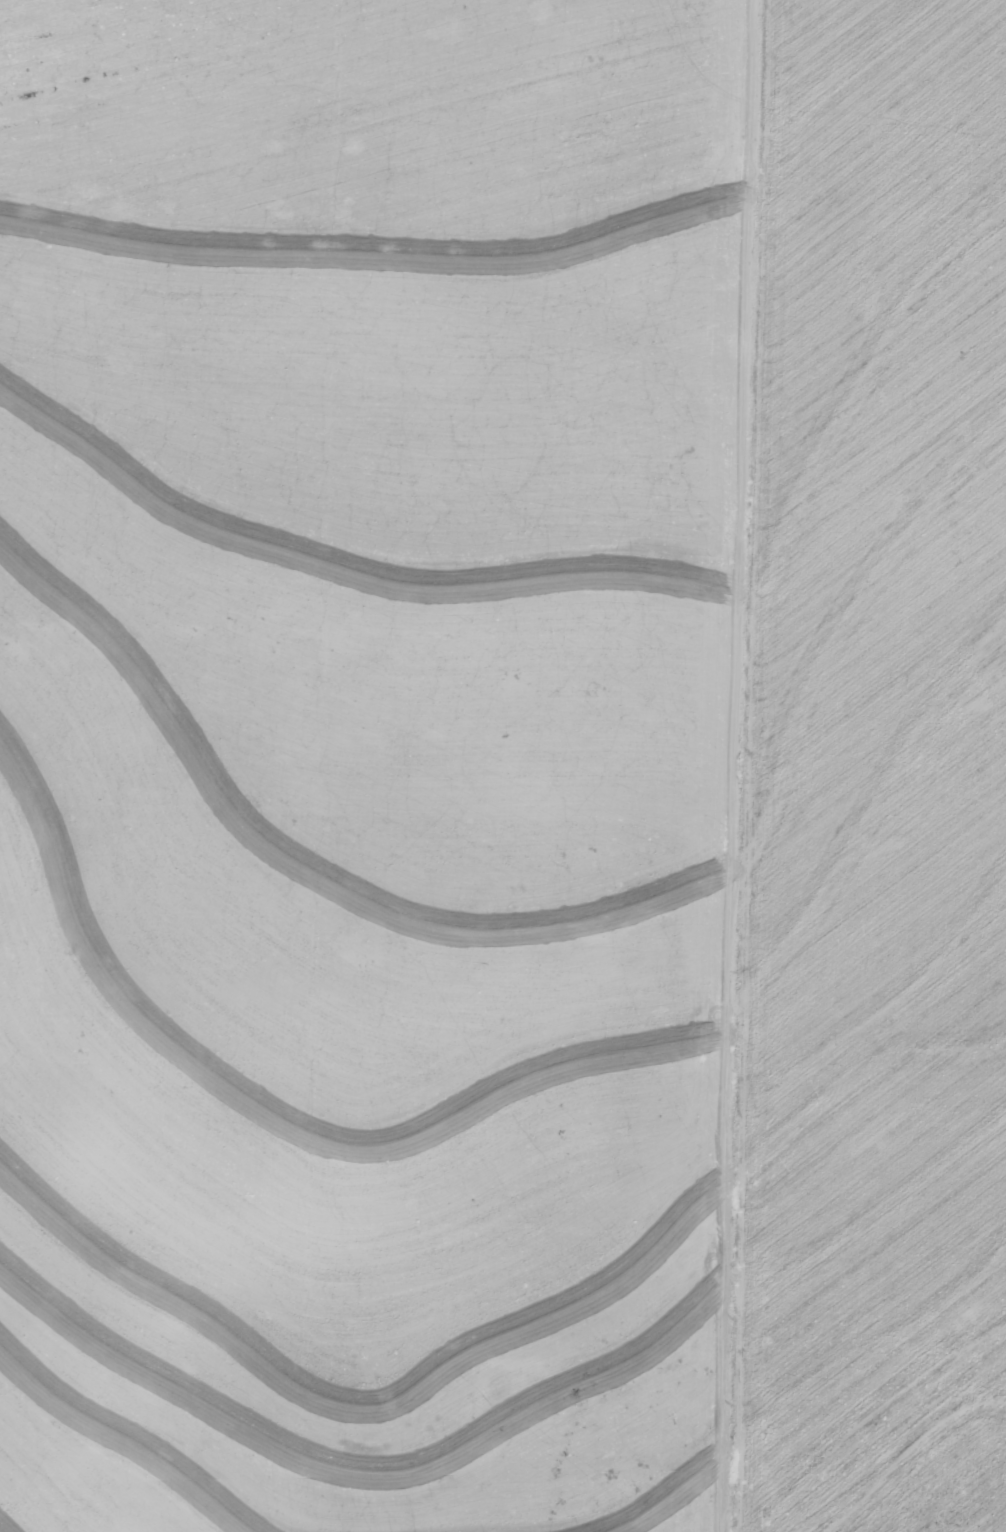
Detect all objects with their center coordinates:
road: (905, 1452)

